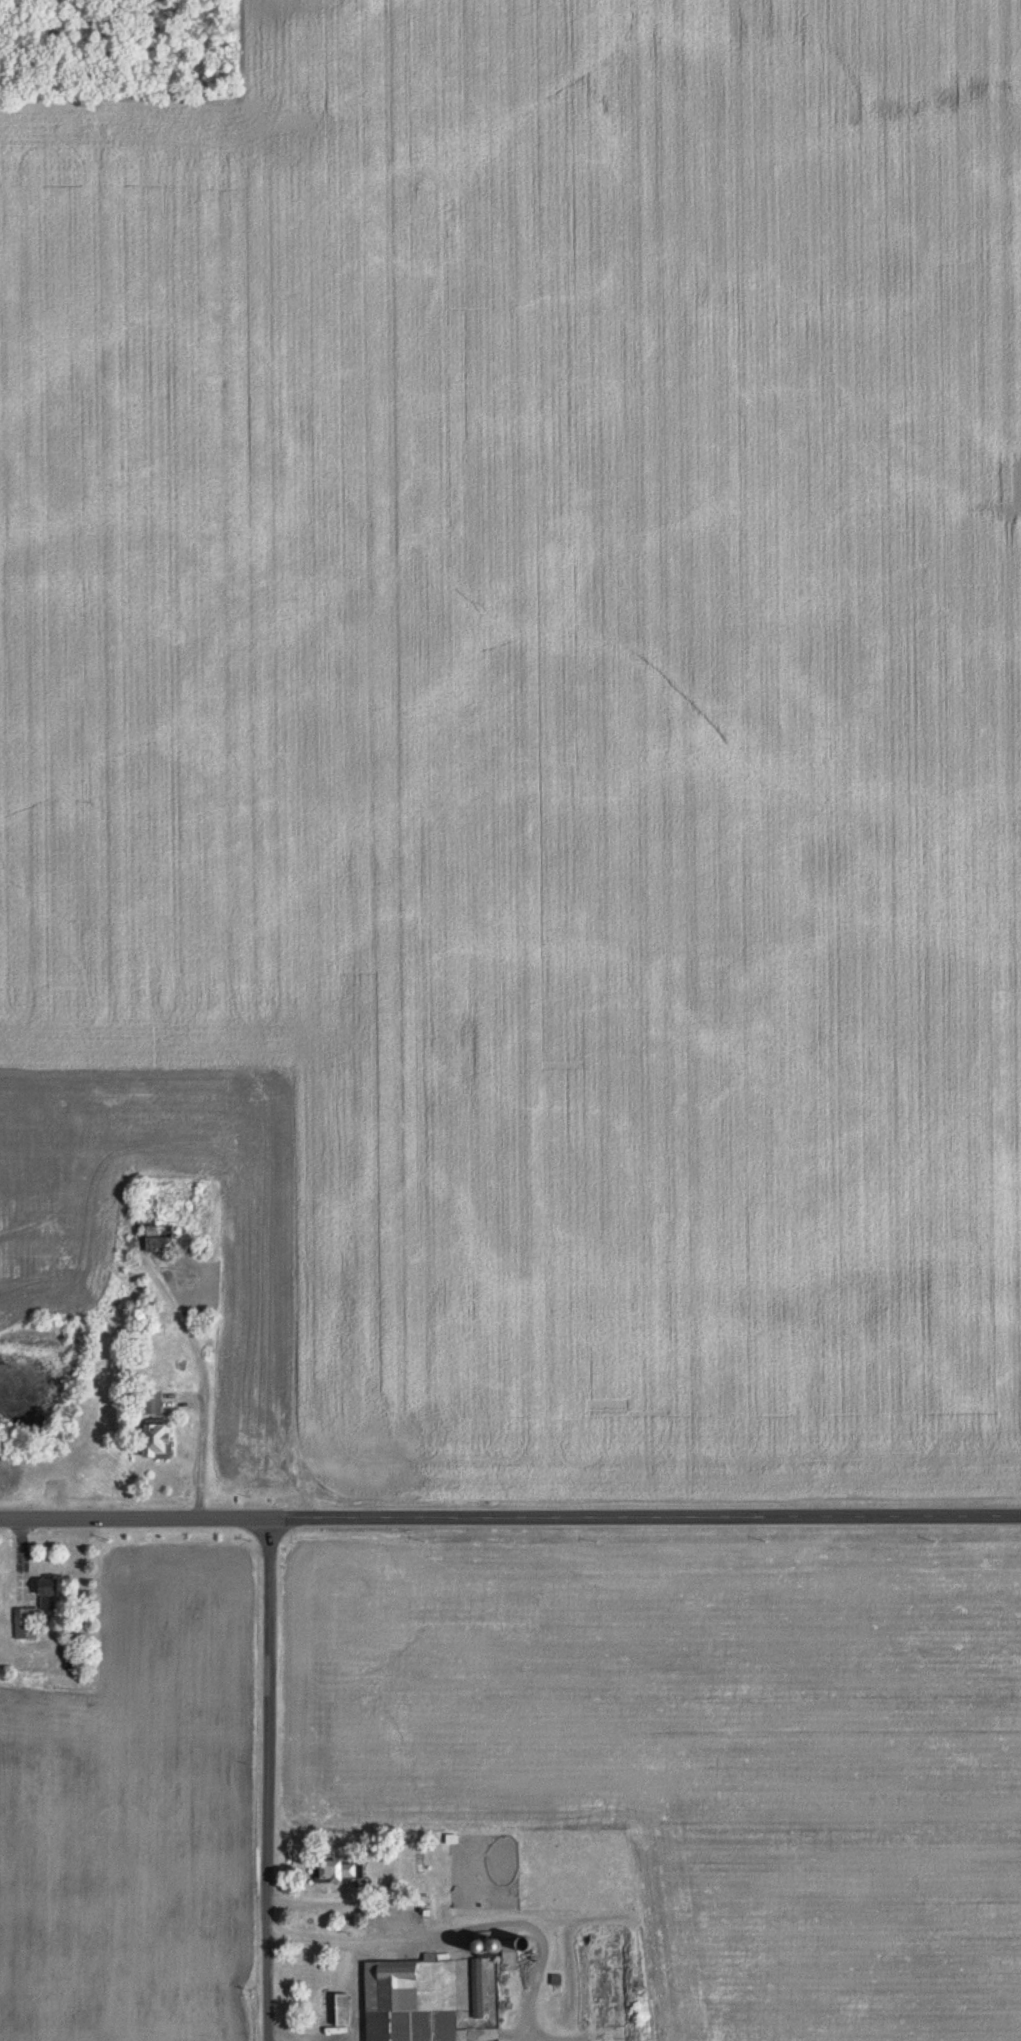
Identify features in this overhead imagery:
crop: (549, 701)
building: (151, 1401)
road: (645, 1518)
road: (134, 1519)
building: (43, 1592)
building: (23, 1622)
crop: (713, 1755)
road: (269, 1780)
crop: (136, 1818)
building: (331, 1867)
building: (475, 1988)
building: (408, 1999)
building: (339, 2011)

